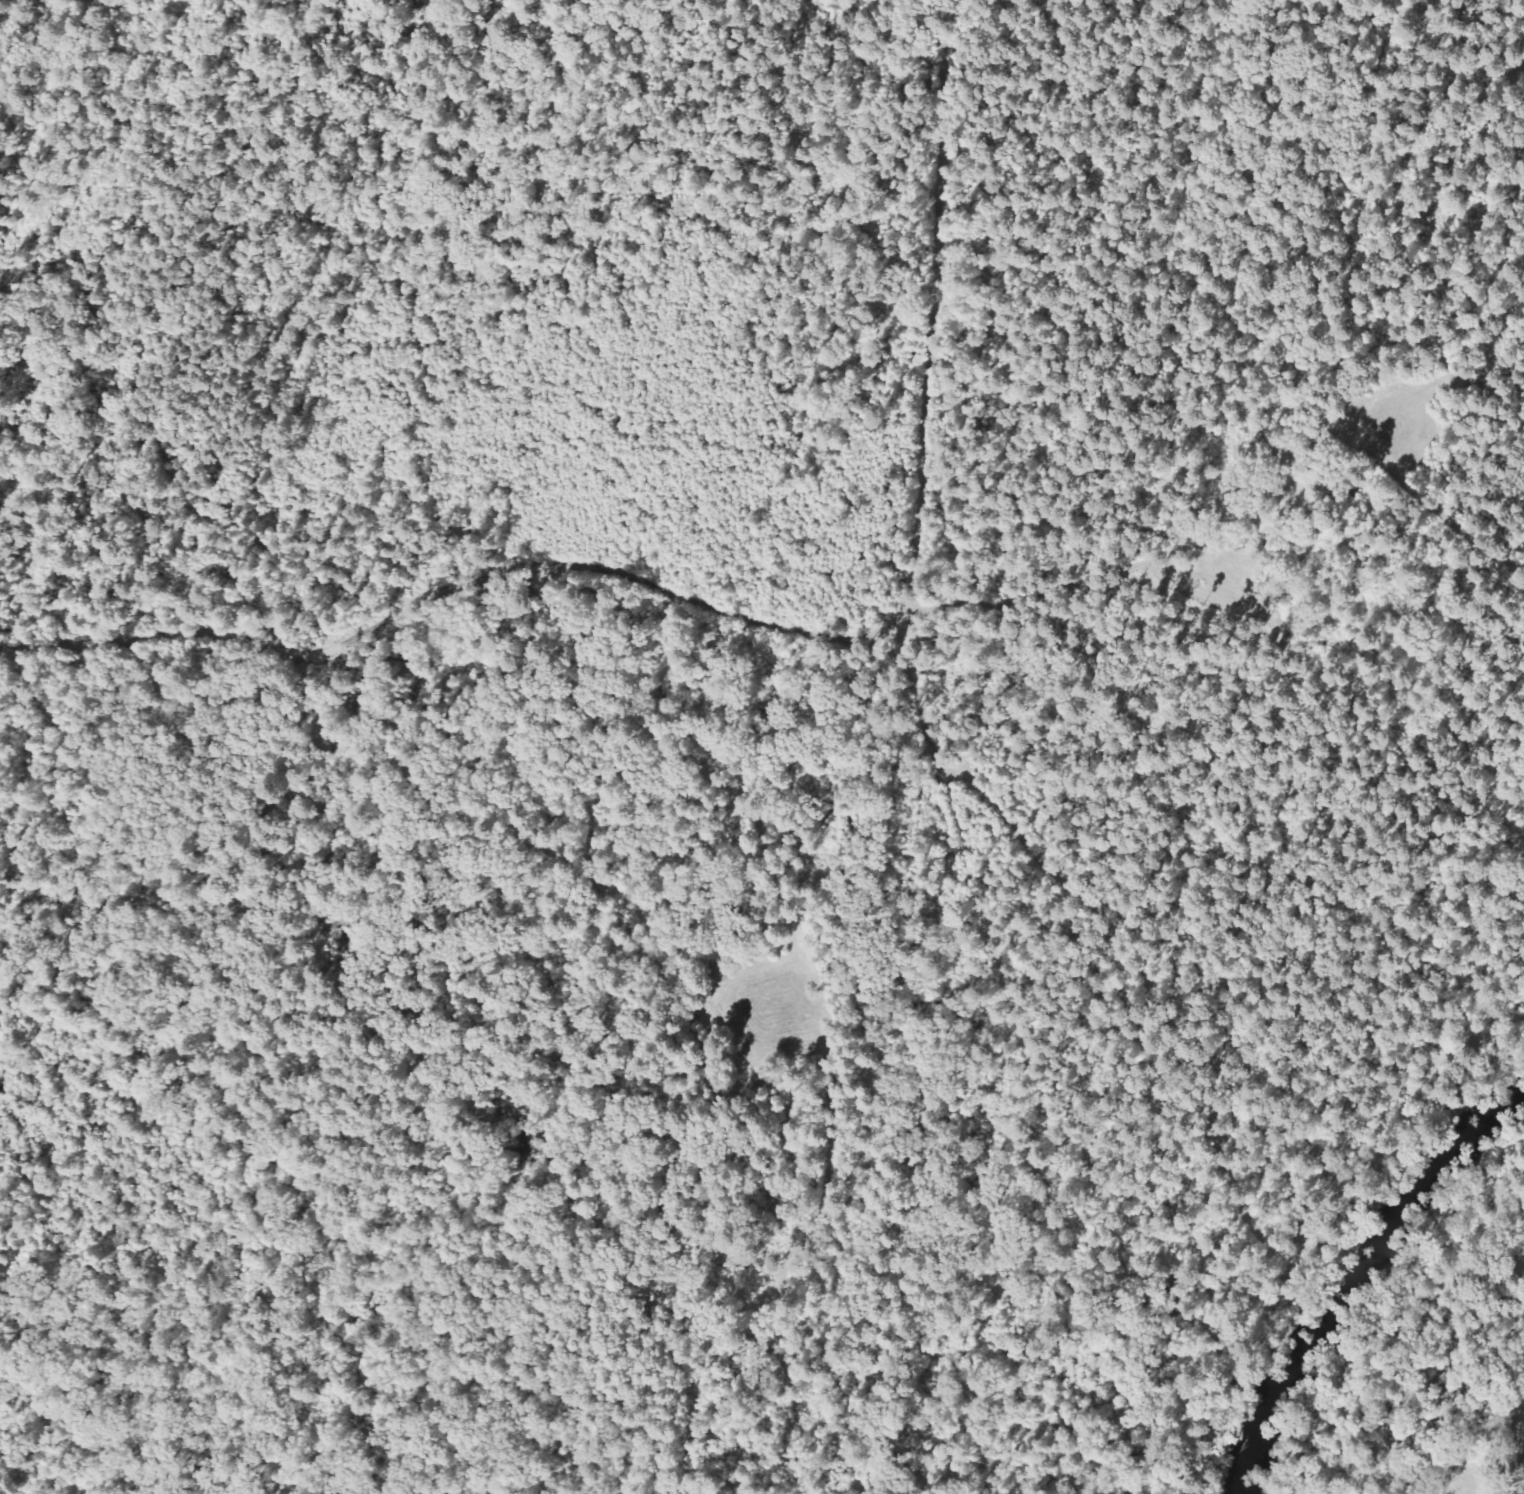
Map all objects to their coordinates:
river: (1354, 1274)

